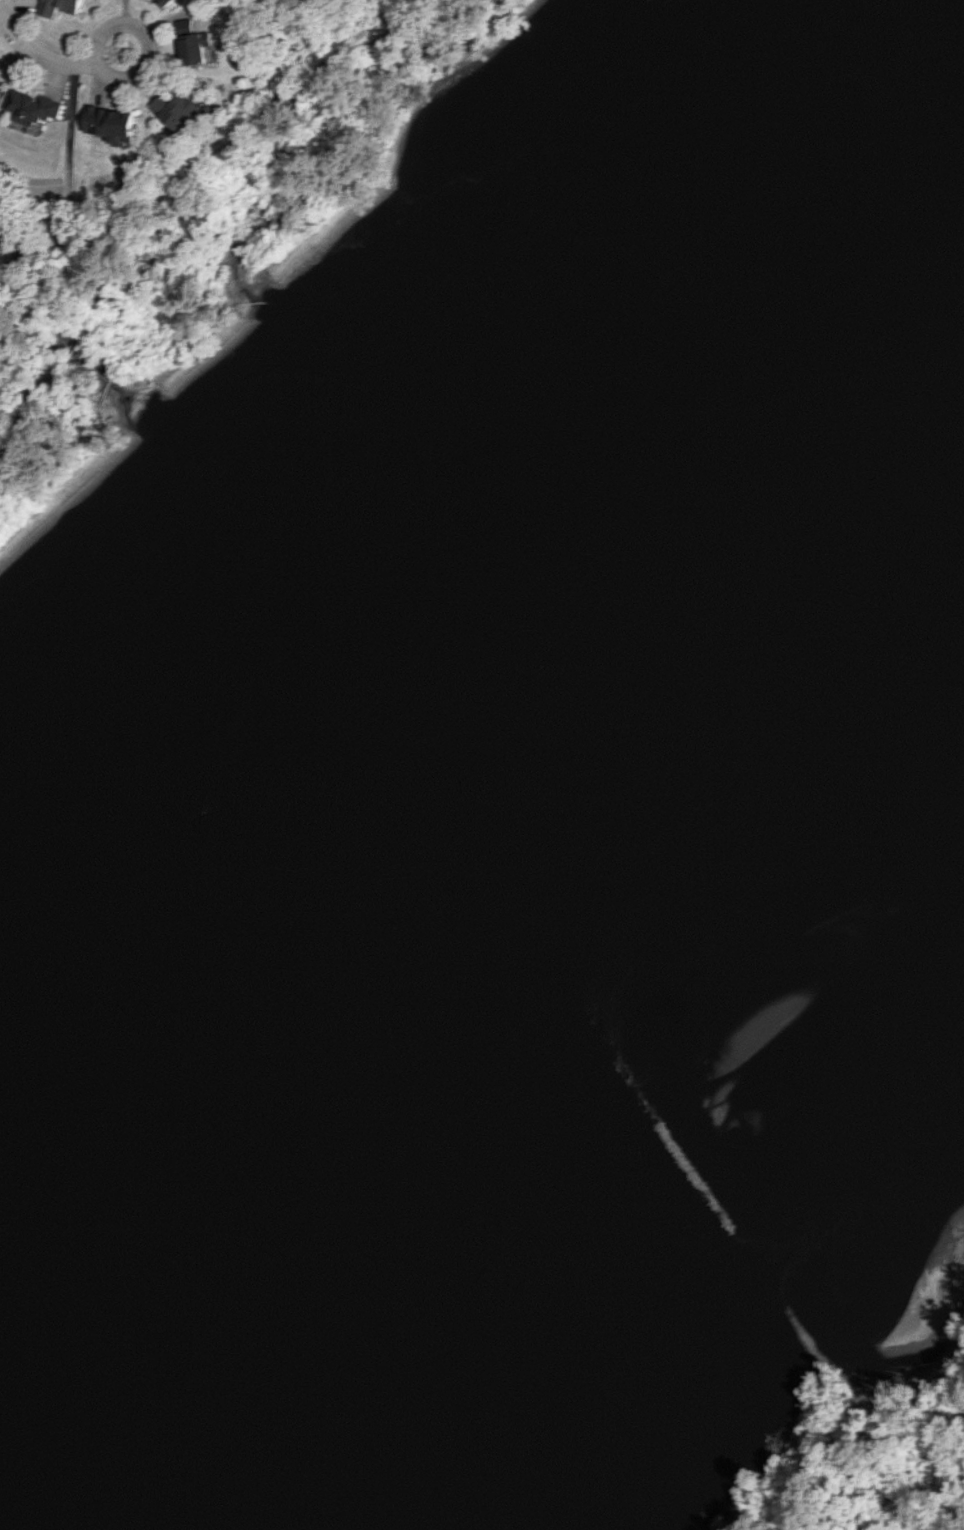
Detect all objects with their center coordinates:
building: (167, 2)
building: (59, 6)
road: (148, 38)
building: (194, 43)
road: (44, 53)
building: (33, 107)
building: (178, 108)
building: (112, 124)
road: (204, 168)
building: (60, 238)
river: (452, 557)

